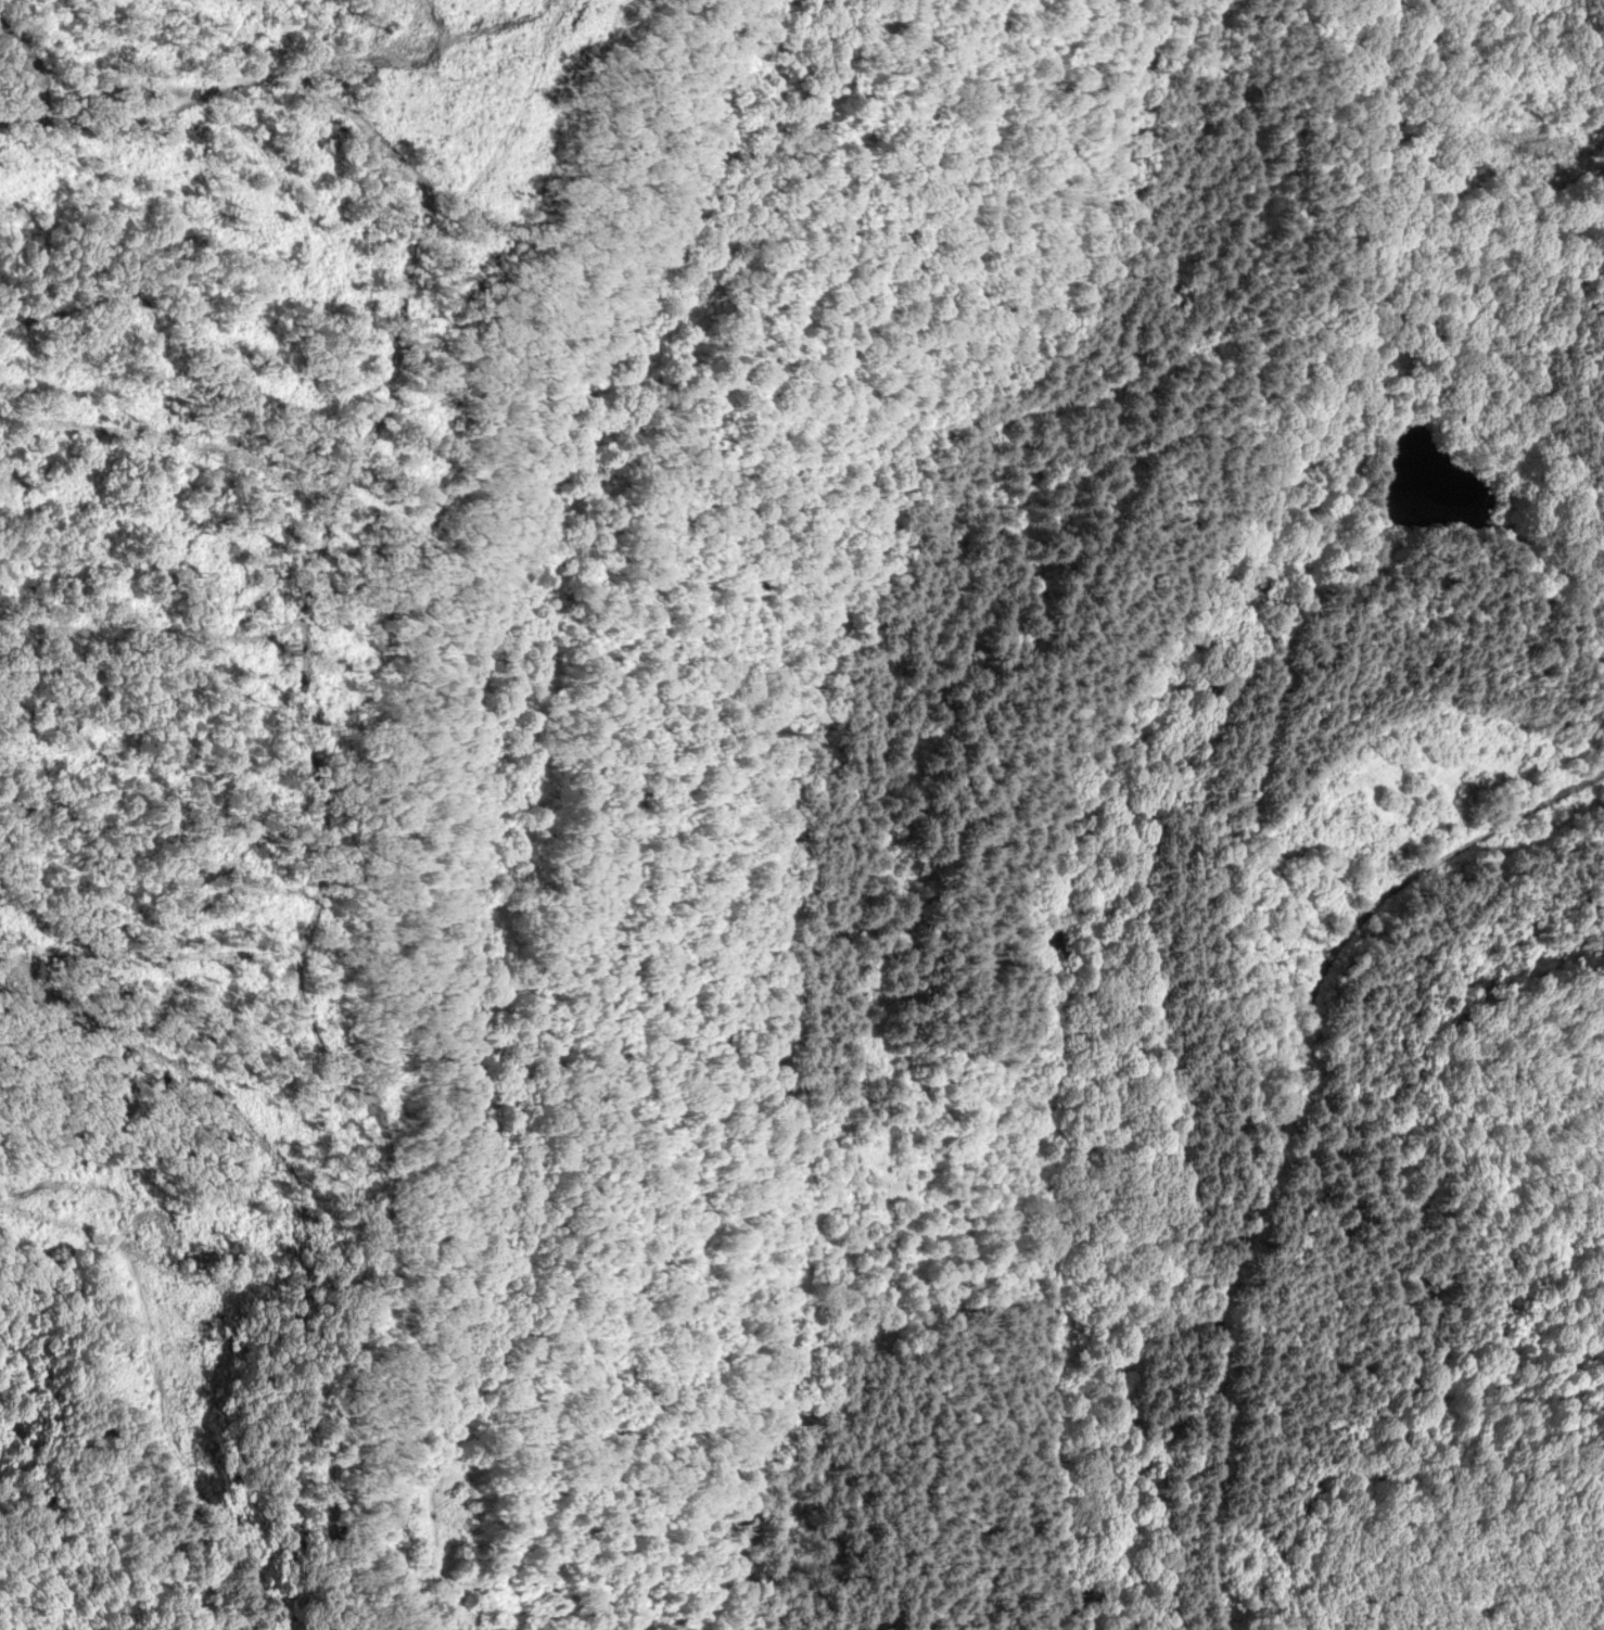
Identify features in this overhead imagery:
road: (1276, 1130)

